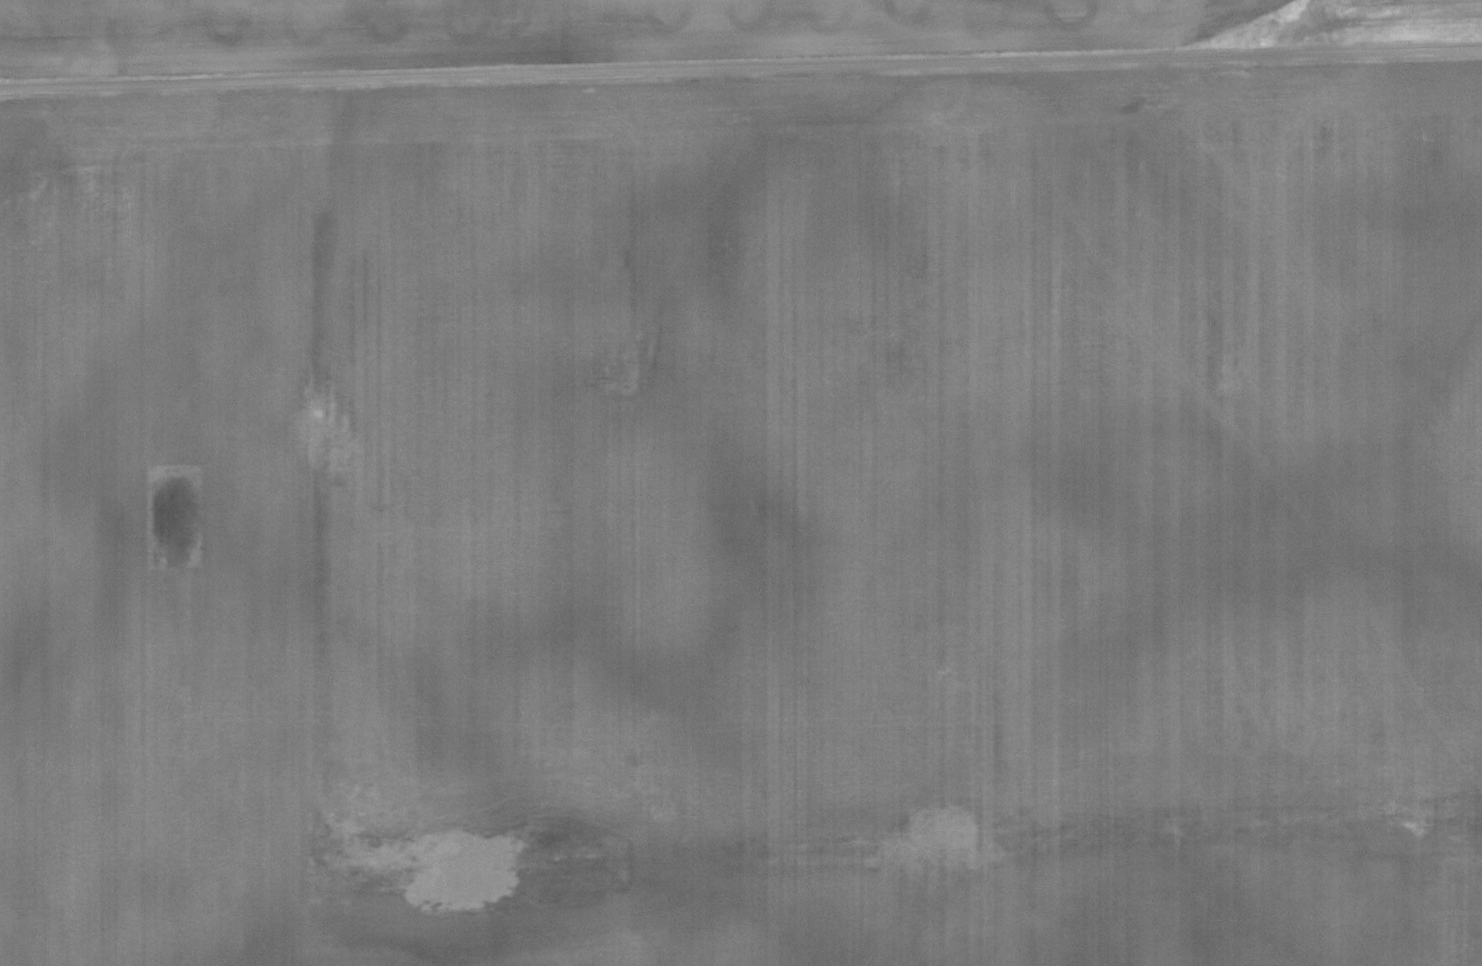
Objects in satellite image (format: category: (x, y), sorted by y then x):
road: (741, 67)

